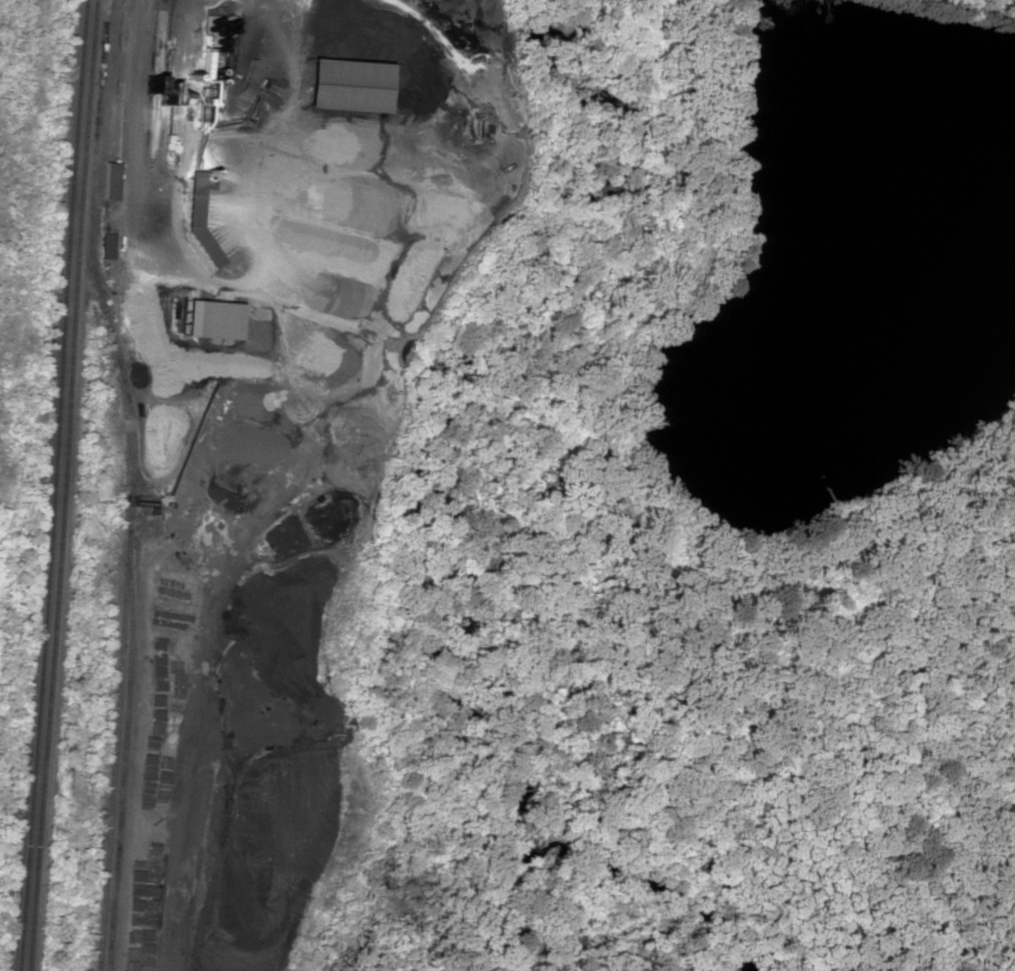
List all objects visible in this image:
building: (341, 85)
building: (110, 181)
building: (106, 246)
building: (209, 320)
railway: (129, 483)
railway: (53, 485)
railway: (63, 485)
railway: (118, 751)

